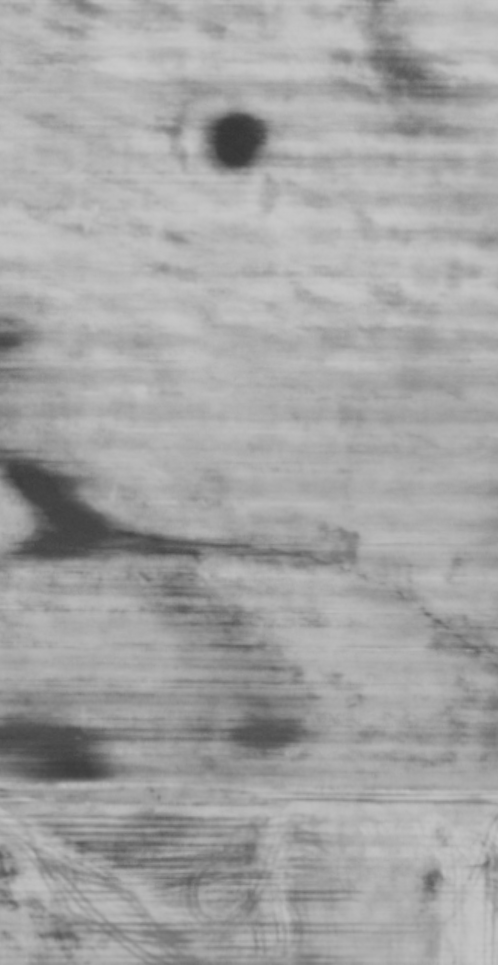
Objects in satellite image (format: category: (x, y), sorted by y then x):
road: (249, 783)

